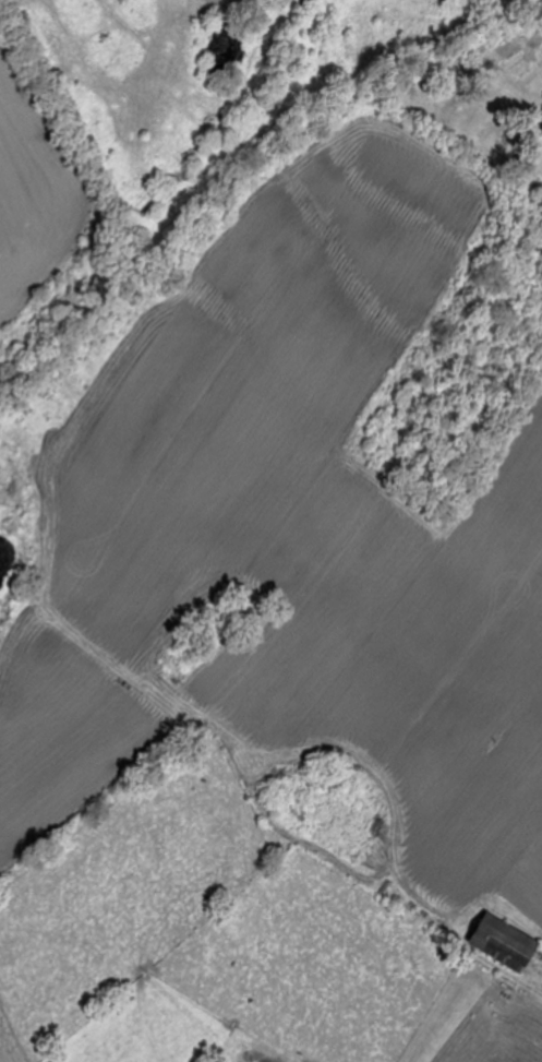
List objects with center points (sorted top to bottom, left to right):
building: (504, 942)

